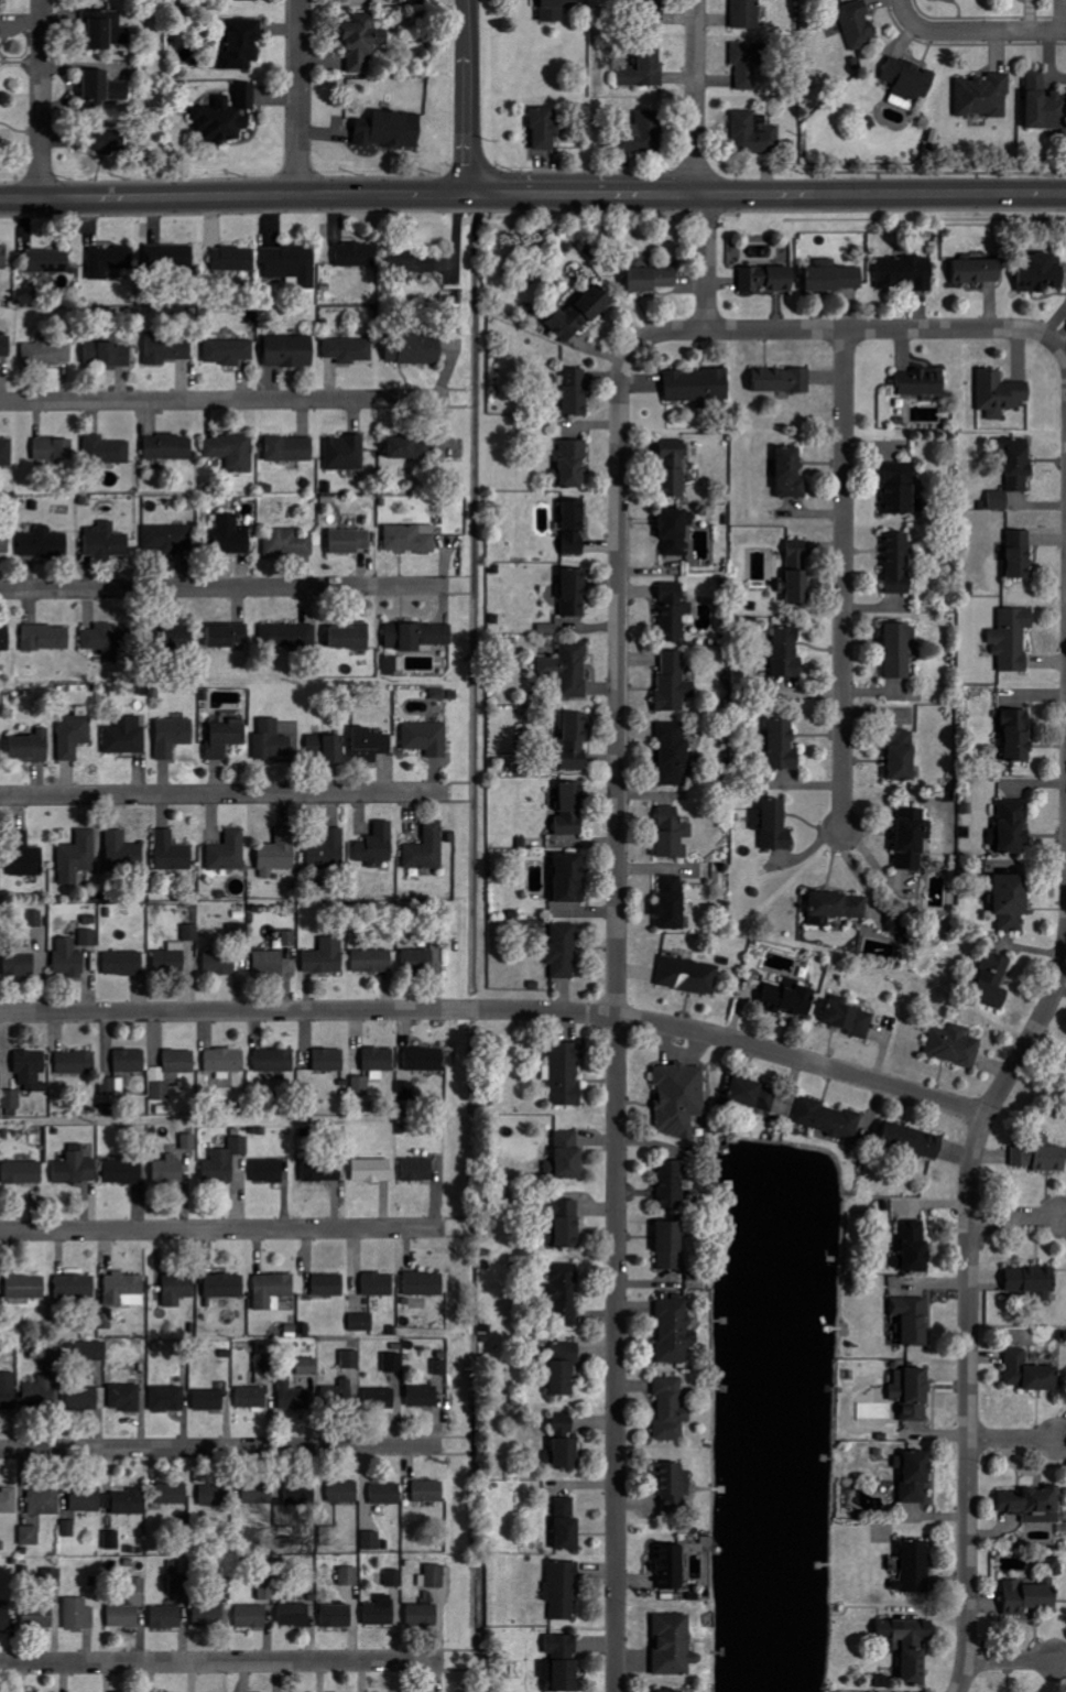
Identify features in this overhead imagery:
building: (239, 0)
building: (1, 2)
building: (554, 10)
building: (657, 11)
road: (903, 11)
building: (749, 13)
building: (860, 24)
building: (107, 29)
building: (1, 32)
road: (986, 32)
building: (363, 41)
building: (242, 44)
building: (749, 63)
building: (645, 69)
building: (910, 82)
building: (98, 84)
building: (122, 90)
building: (985, 96)
road: (696, 97)
road: (41, 98)
road: (298, 98)
road: (465, 98)
building: (1045, 102)
building: (228, 115)
building: (546, 128)
building: (393, 130)
building: (645, 132)
building: (755, 132)
building: (110, 141)
road: (764, 194)
road: (230, 197)
building: (576, 245)
building: (558, 246)
building: (586, 252)
building: (595, 253)
building: (358, 254)
building: (172, 256)
building: (4, 257)
building: (235, 259)
building: (48, 261)
building: (110, 261)
building: (589, 261)
road: (706, 262)
building: (293, 263)
building: (414, 268)
building: (979, 271)
building: (907, 272)
building: (1042, 273)
building: (640, 275)
building: (770, 279)
building: (837, 279)
building: (572, 312)
road: (872, 329)
road: (1054, 343)
building: (6, 346)
building: (168, 348)
building: (292, 350)
building: (350, 350)
building: (230, 351)
building: (413, 351)
building: (47, 352)
building: (109, 354)
building: (784, 380)
building: (924, 383)
building: (699, 384)
building: (567, 391)
building: (1001, 394)
road: (225, 401)
building: (170, 447)
building: (291, 448)
building: (411, 448)
building: (55, 449)
building: (107, 451)
building: (232, 451)
building: (7, 452)
building: (347, 453)
building: (573, 465)
building: (676, 468)
building: (1015, 470)
building: (793, 474)
building: (903, 489)
building: (576, 528)
building: (677, 531)
building: (230, 535)
building: (412, 538)
building: (167, 539)
building: (107, 541)
building: (350, 541)
building: (289, 542)
building: (4, 543)
building: (45, 543)
building: (1021, 554)
building: (900, 562)
building: (801, 572)
road: (845, 581)
road: (225, 588)
building: (576, 593)
building: (675, 612)
building: (548, 629)
building: (230, 636)
building: (290, 636)
building: (418, 636)
building: (351, 637)
building: (47, 638)
building: (1014, 639)
building: (6, 640)
building: (109, 640)
building: (184, 641)
building: (901, 650)
building: (788, 653)
building: (570, 669)
building: (675, 683)
building: (439, 694)
building: (75, 736)
building: (127, 736)
building: (174, 736)
building: (1020, 736)
building: (227, 738)
building: (427, 738)
building: (274, 741)
building: (576, 742)
building: (372, 745)
building: (0, 746)
building: (785, 746)
building: (32, 747)
building: (328, 748)
building: (903, 753)
building: (675, 755)
road: (224, 795)
building: (572, 809)
building: (775, 825)
building: (1013, 828)
building: (674, 834)
building: (914, 838)
building: (378, 846)
building: (329, 849)
building: (427, 849)
building: (123, 850)
building: (230, 852)
building: (173, 853)
building: (280, 854)
building: (26, 856)
building: (78, 858)
building: (573, 879)
building: (1013, 902)
building: (674, 904)
building: (838, 908)
building: (36, 919)
building: (901, 922)
building: (240, 931)
building: (192, 933)
building: (89, 937)
building: (291, 939)
building: (565, 951)
building: (327, 957)
building: (70, 958)
building: (418, 959)
building: (170, 961)
building: (374, 961)
building: (22, 962)
building: (271, 962)
building: (220, 963)
building: (124, 964)
building: (690, 976)
road: (617, 979)
building: (996, 981)
building: (791, 999)
road: (499, 1010)
building: (851, 1020)
building: (955, 1045)
building: (380, 1060)
building: (425, 1060)
building: (131, 1061)
building: (226, 1061)
building: (275, 1061)
building: (330, 1061)
building: (76, 1063)
building: (171, 1072)
building: (33, 1073)
building: (566, 1074)
building: (111, 1087)
building: (362, 1087)
building: (406, 1091)
building: (755, 1095)
building: (12, 1099)
building: (682, 1099)
building: (829, 1119)
building: (191, 1141)
building: (914, 1141)
building: (570, 1157)
building: (1041, 1159)
building: (226, 1162)
building: (77, 1170)
building: (170, 1170)
building: (418, 1170)
building: (269, 1171)
building: (323, 1171)
building: (373, 1171)
building: (124, 1172)
building: (24, 1173)
building: (672, 1185)
road: (1014, 1217)
building: (567, 1222)
road: (222, 1230)
building: (672, 1247)
building: (915, 1248)
building: (1035, 1282)
building: (380, 1284)
building: (428, 1284)
building: (226, 1286)
building: (330, 1286)
building: (26, 1287)
building: (77, 1287)
building: (127, 1290)
building: (178, 1290)
building: (273, 1291)
building: (565, 1293)
road: (968, 1308)
building: (914, 1320)
building: (363, 1322)
building: (676, 1328)
building: (1062, 1336)
building: (94, 1352)
building: (352, 1359)
building: (394, 1363)
building: (265, 1364)
building: (308, 1367)
building: (440, 1367)
building: (565, 1368)
building: (1032, 1374)
building: (9, 1391)
building: (913, 1391)
building: (42, 1392)
building: (339, 1393)
building: (293, 1396)
building: (424, 1397)
building: (87, 1398)
building: (128, 1398)
building: (252, 1398)
building: (168, 1399)
building: (381, 1399)
building: (210, 1401)
building: (672, 1409)
road: (1011, 1440)
road: (221, 1449)
building: (568, 1455)
building: (916, 1476)
building: (674, 1487)
building: (429, 1492)
building: (345, 1493)
building: (173, 1495)
building: (260, 1495)
building: (387, 1495)
building: (215, 1496)
building: (300, 1496)
building: (87, 1500)
building: (9, 1501)
building: (45, 1503)
building: (127, 1503)
building: (1034, 1505)
building: (568, 1525)
building: (69, 1529)
building: (884, 1532)
building: (31, 1536)
building: (112, 1540)
building: (372, 1540)
building: (672, 1565)
building: (916, 1568)
building: (349, 1575)
building: (434, 1575)
building: (54, 1576)
building: (395, 1576)
building: (1040, 1582)
building: (180, 1583)
building: (139, 1585)
building: (268, 1588)
building: (564, 1588)
building: (1030, 1597)
building: (381, 1610)
building: (79, 1614)
building: (211, 1614)
building: (295, 1614)
building: (423, 1614)
building: (337, 1615)
building: (40, 1616)
building: (124, 1616)
building: (167, 1616)
building: (252, 1616)
building: (6, 1618)
building: (563, 1642)
building: (675, 1645)
building: (912, 1645)
road: (1011, 1661)
road: (221, 1662)
building: (562, 1674)
building: (672, 1690)
building: (127, 1691)

